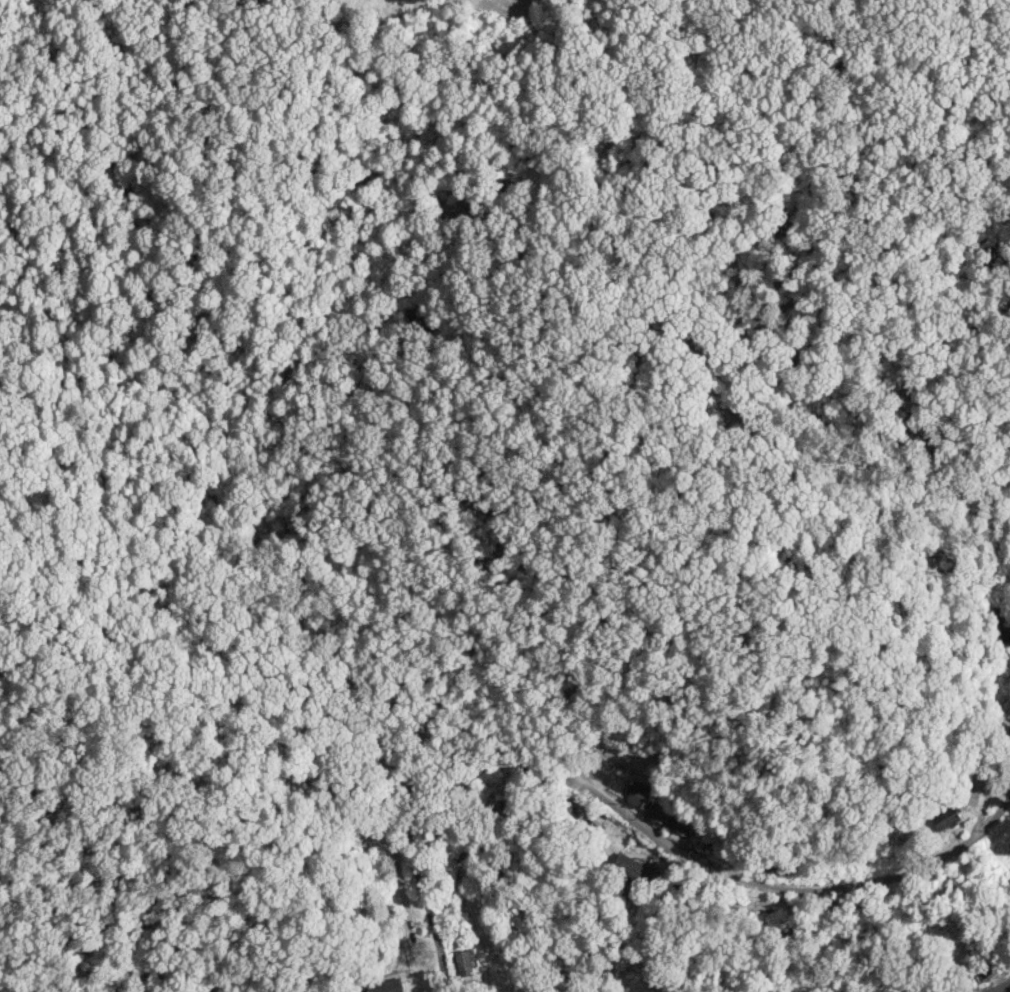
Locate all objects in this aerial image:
road: (552, 765)
building: (638, 793)
building: (660, 813)
building: (946, 817)
building: (683, 824)
road: (950, 850)
building: (629, 867)
road: (710, 959)
building: (464, 962)
building: (388, 982)
road: (1003, 988)

